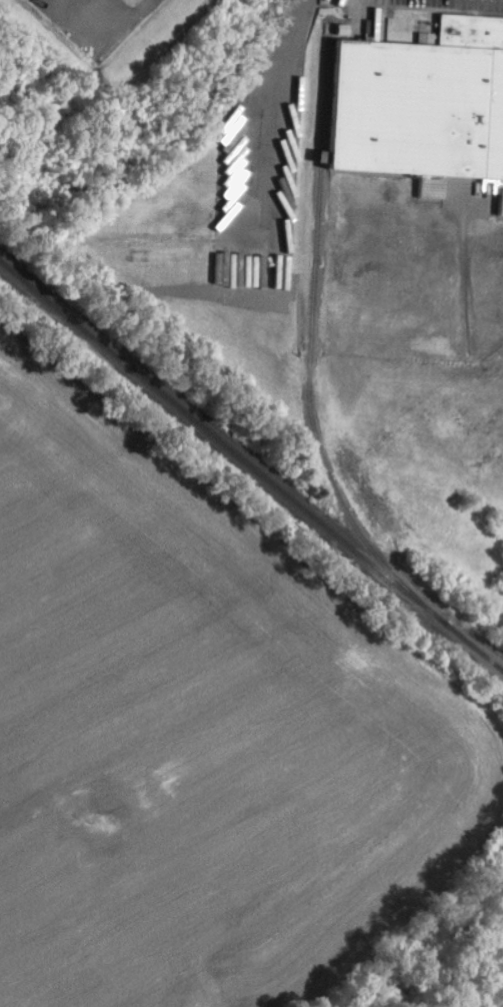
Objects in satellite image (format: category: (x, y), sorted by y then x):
building: (123, 0)
building: (422, 107)
building: (501, 207)
railway: (312, 335)
railway: (253, 466)

